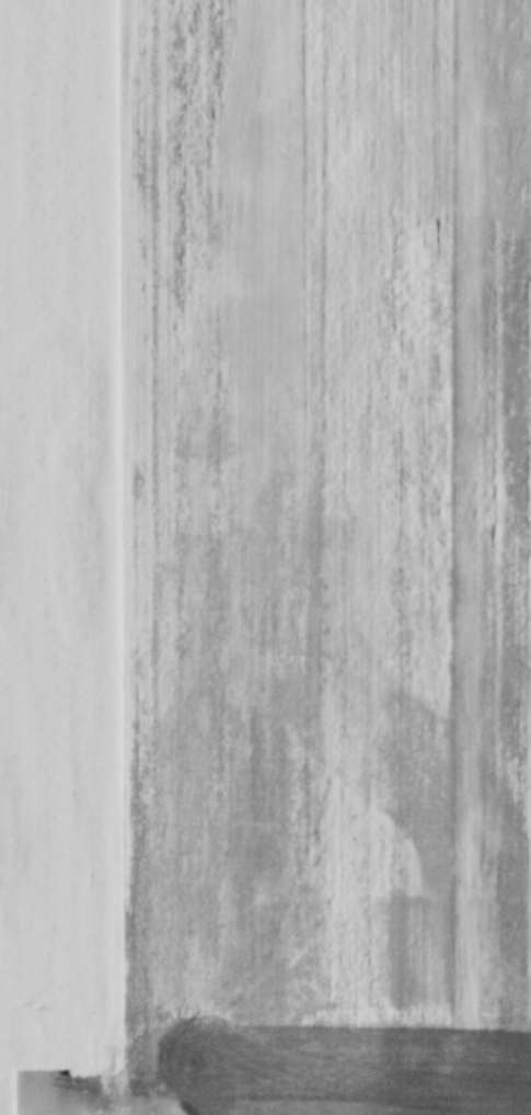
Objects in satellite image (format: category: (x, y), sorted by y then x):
road: (120, 557)

